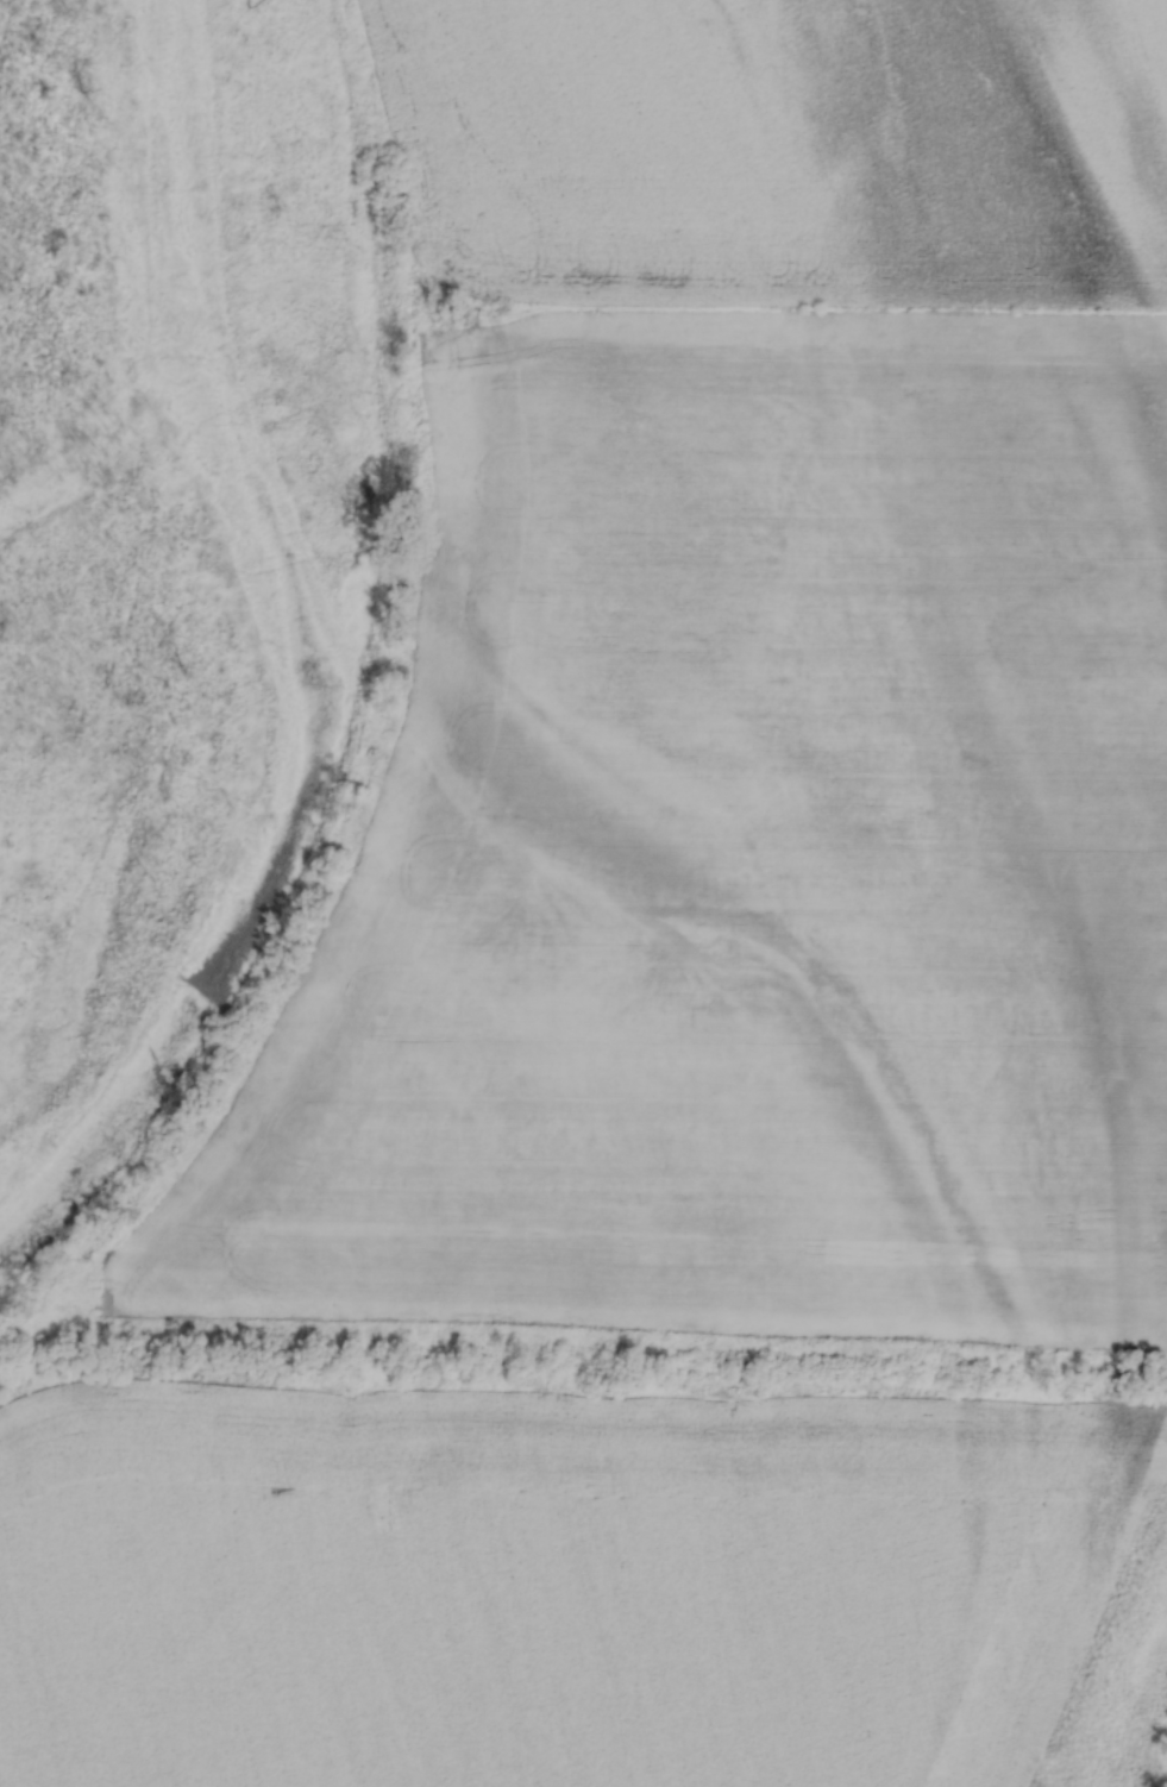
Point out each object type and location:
road: (582, 1380)

